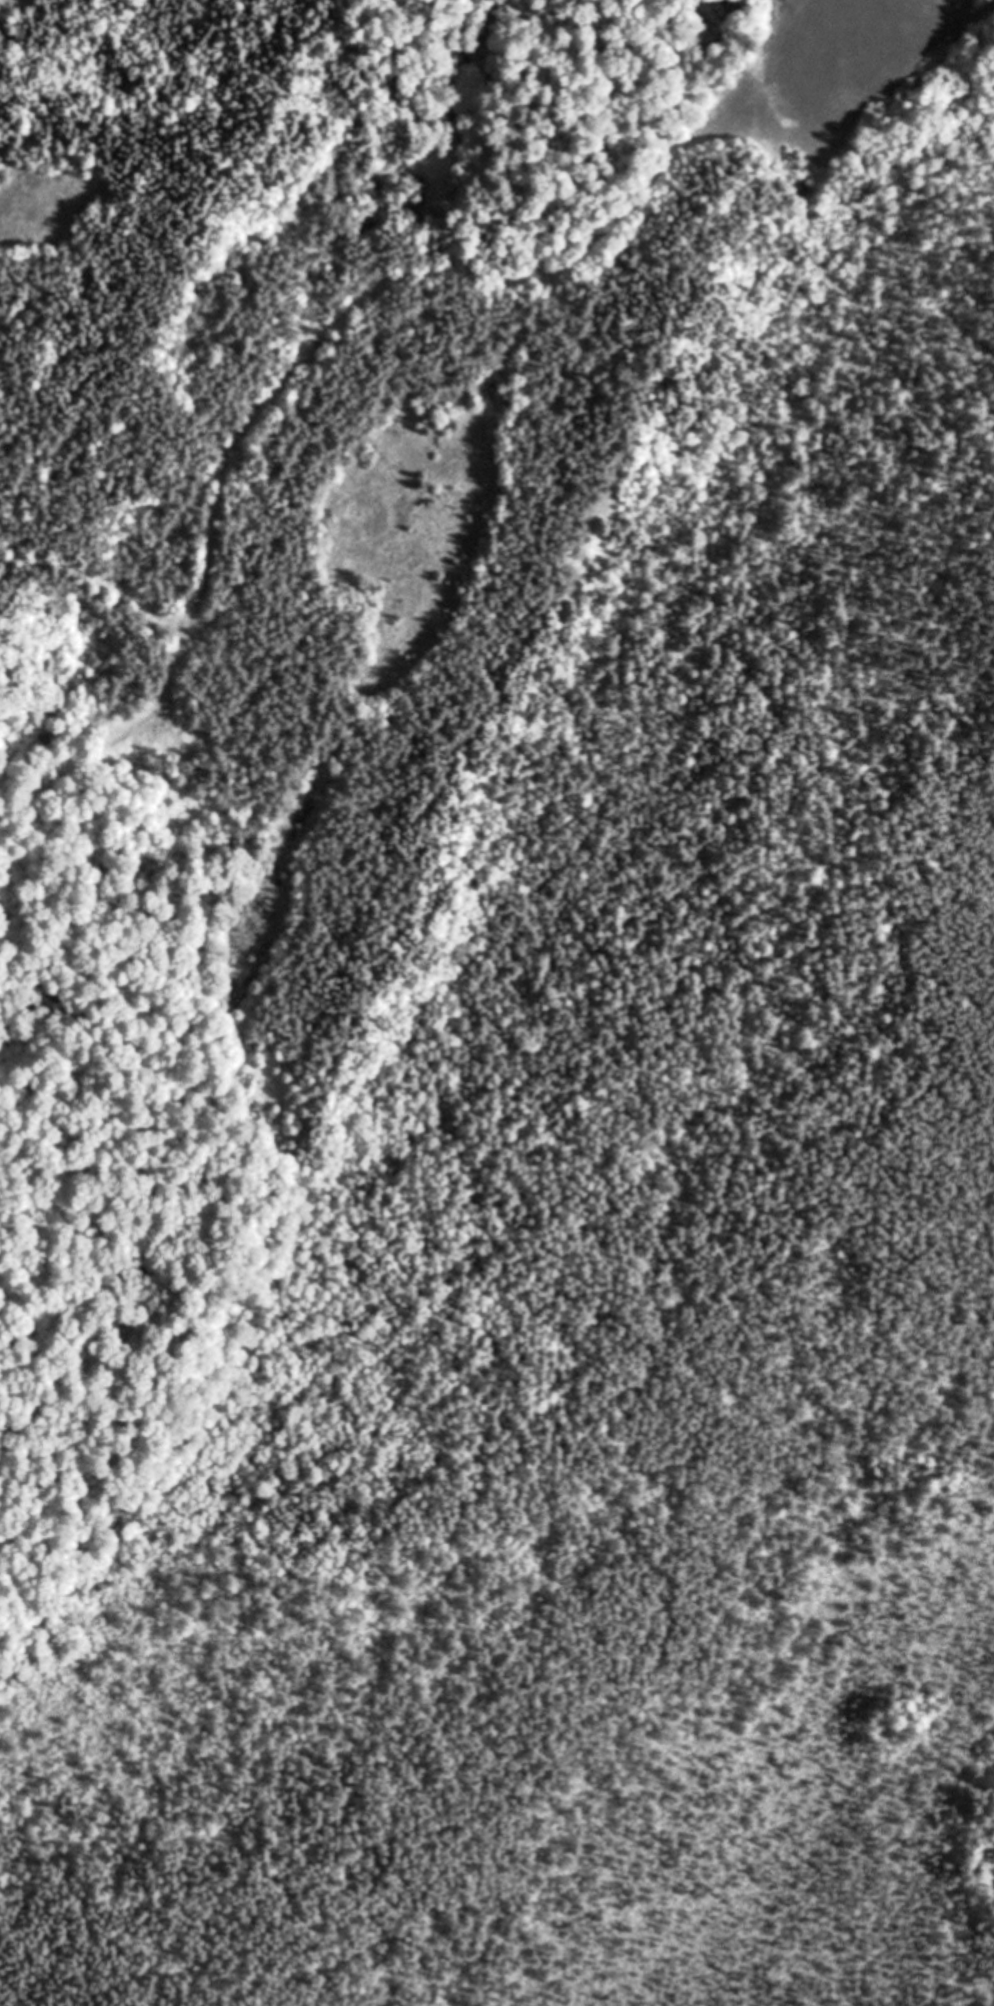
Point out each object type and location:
road: (784, 49)

